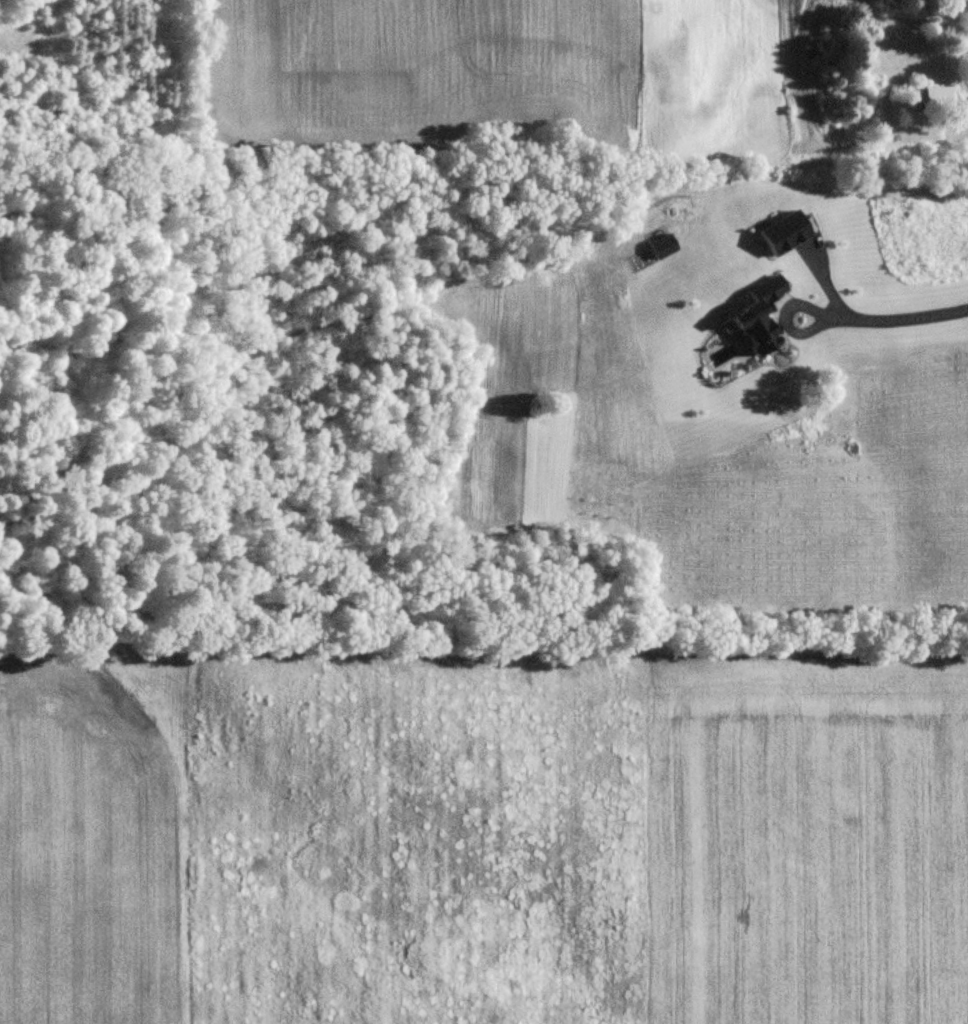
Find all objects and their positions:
building: (935, 100)
road: (894, 321)
road: (782, 323)

